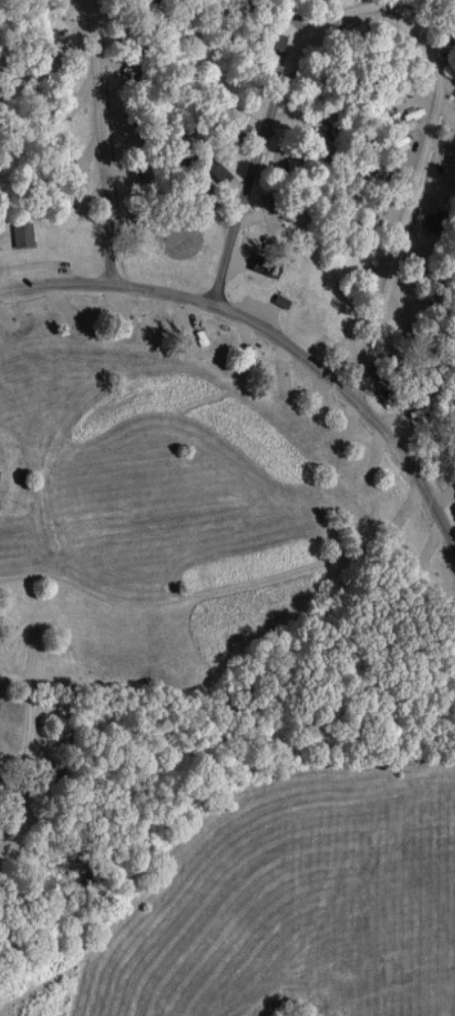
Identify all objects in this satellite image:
road: (398, 9)
road: (404, 23)
road: (105, 141)
building: (286, 212)
building: (21, 235)
building: (280, 301)
road: (272, 332)
park: (227, 508)
road: (29, 750)

